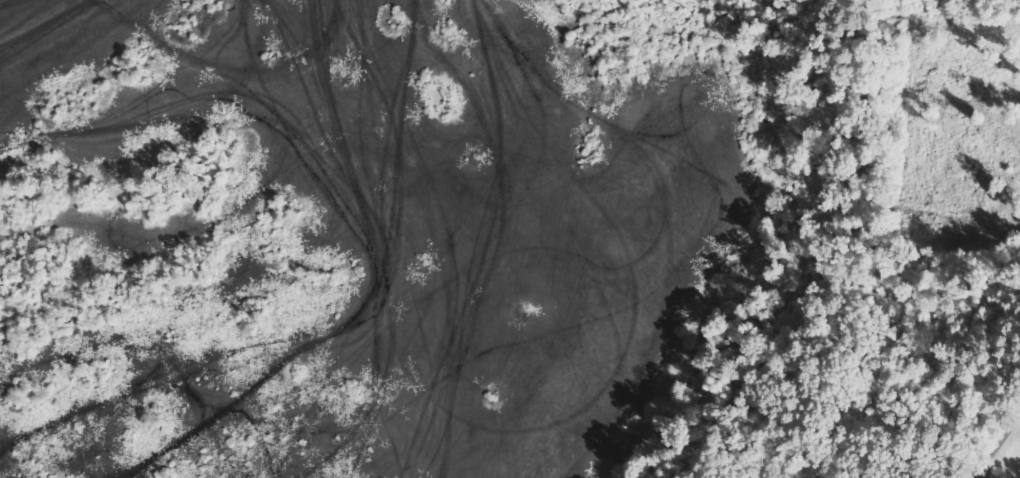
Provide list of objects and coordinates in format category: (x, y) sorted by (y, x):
road: (994, 446)

